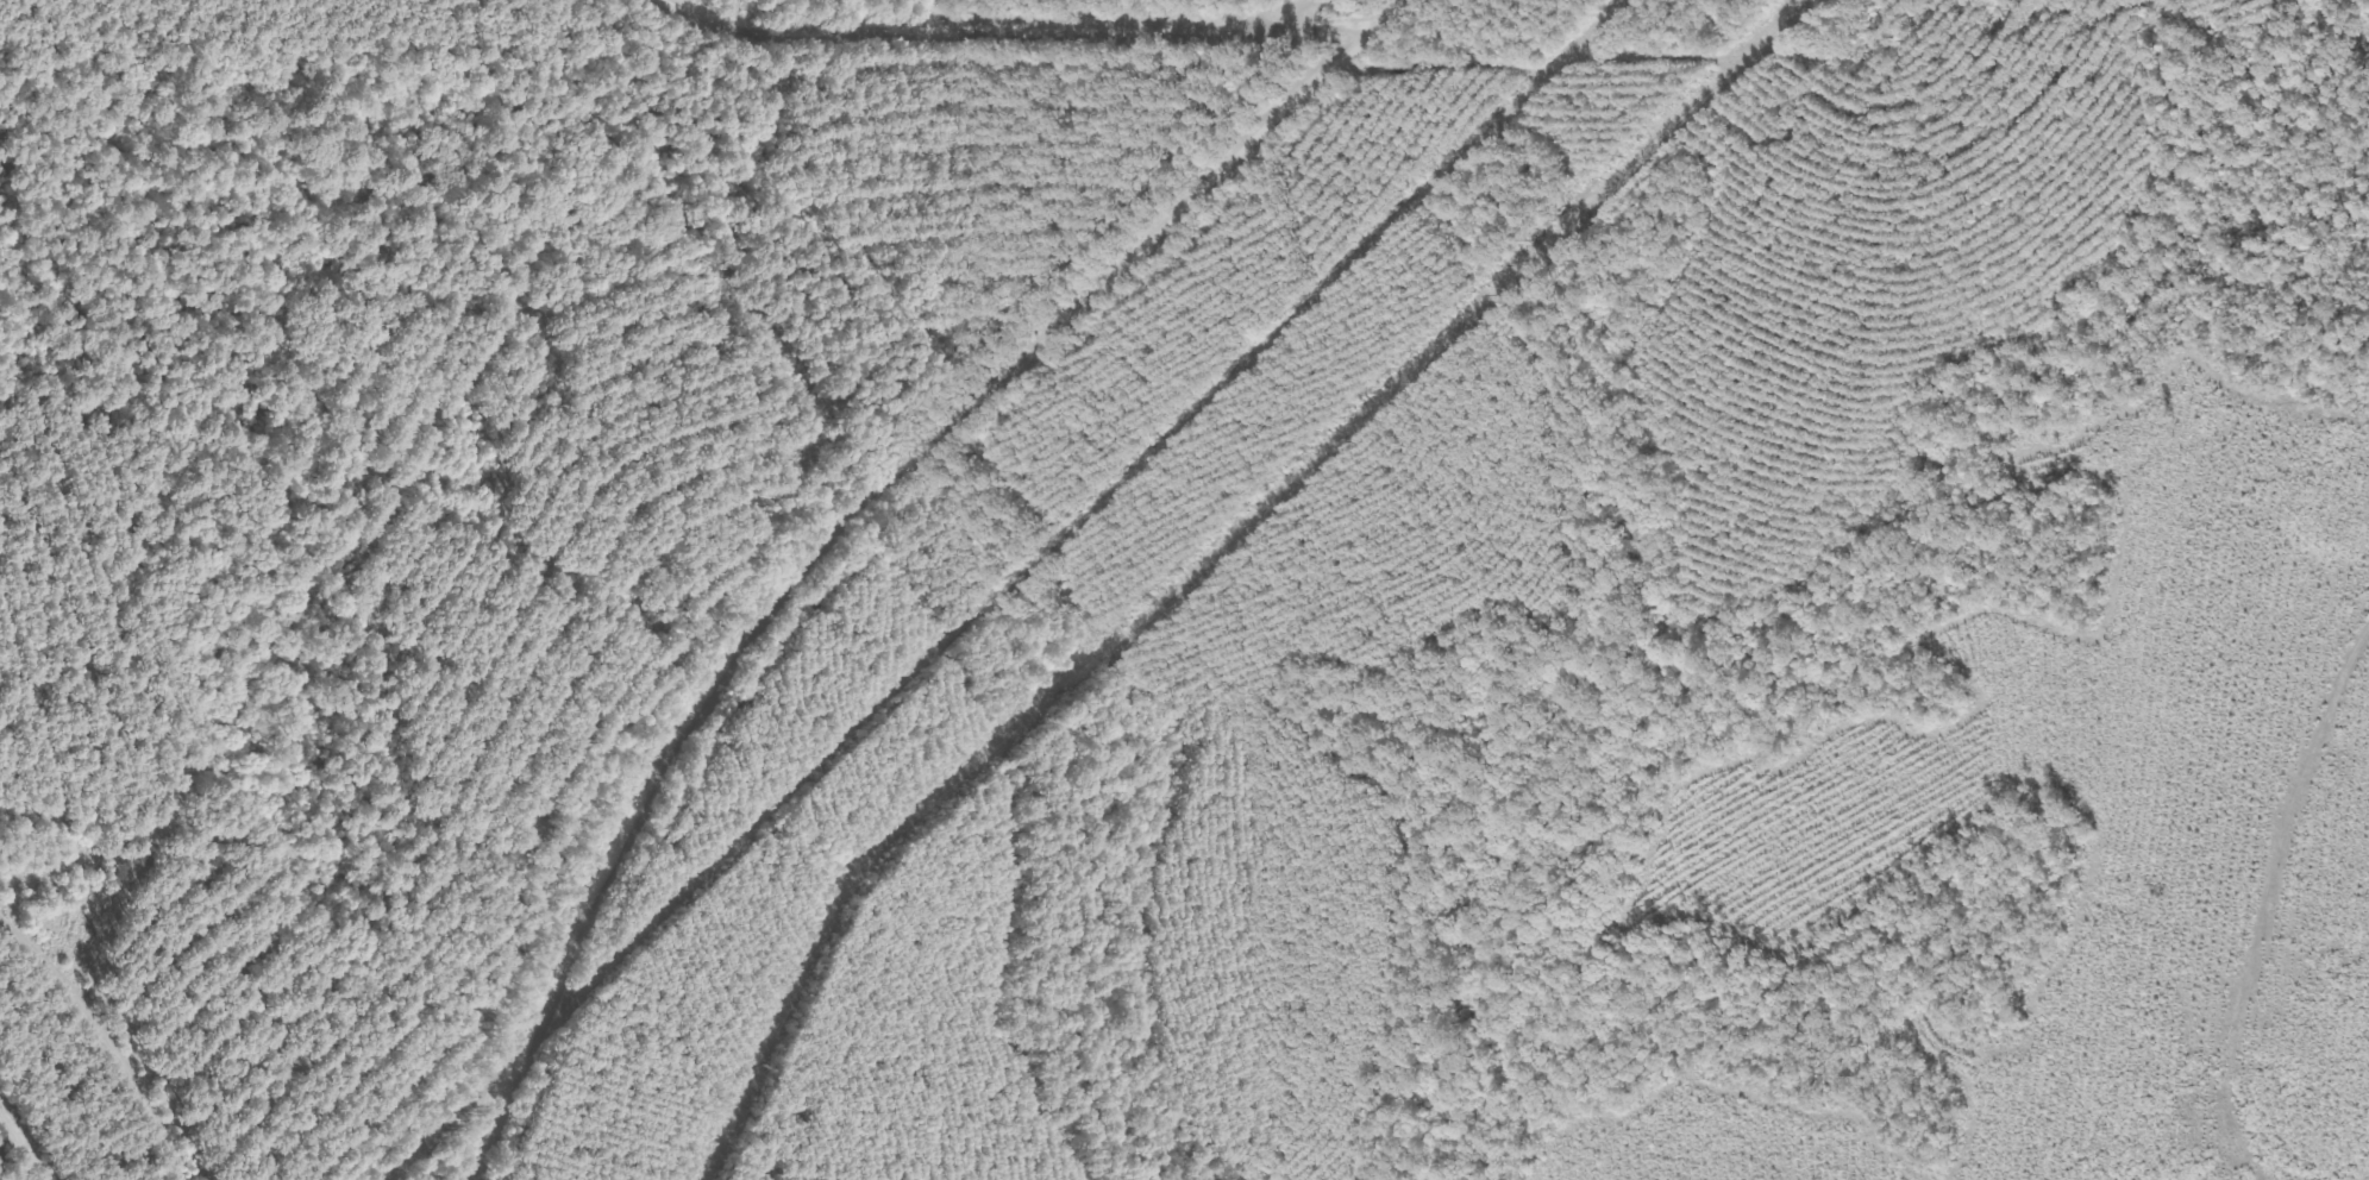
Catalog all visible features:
road: (734, 207)
road: (871, 501)
road: (186, 790)

